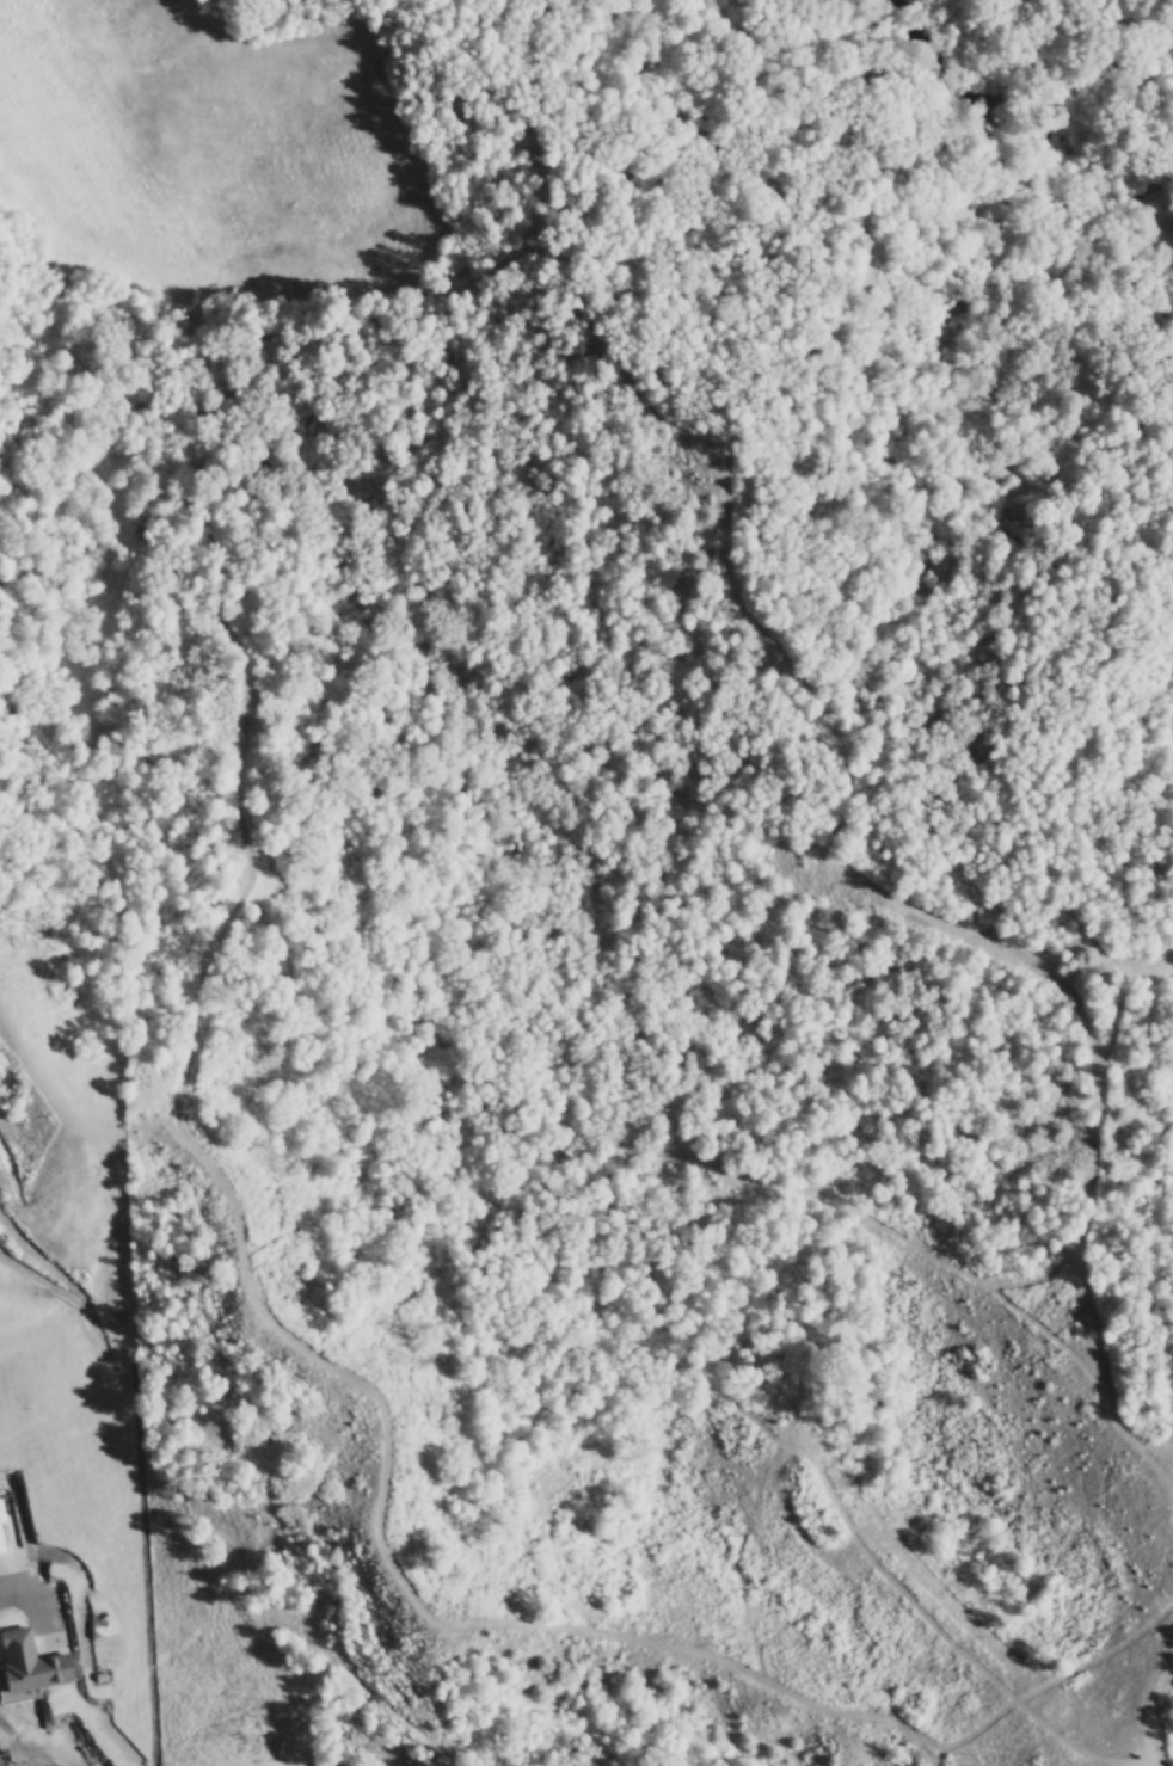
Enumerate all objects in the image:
building: (1, 1538)
road: (20, 1595)
building: (32, 1661)

